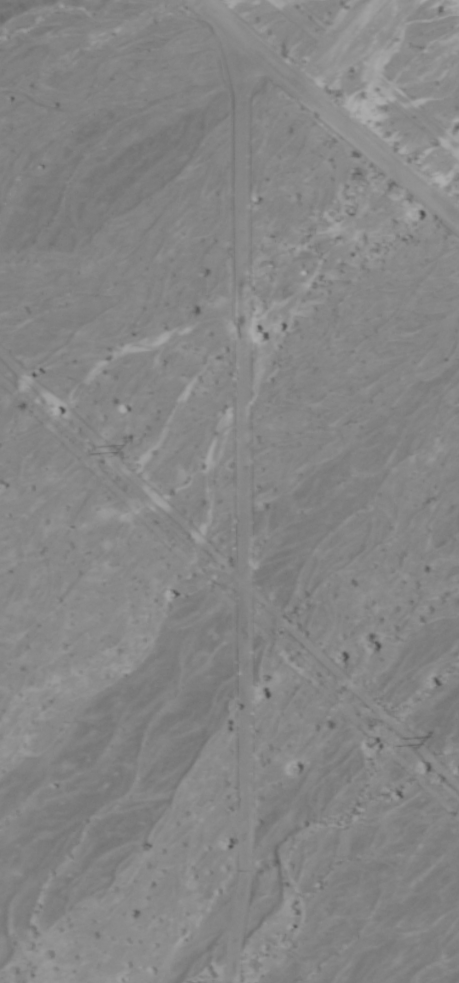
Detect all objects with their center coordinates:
road: (327, 111)
power tower: (87, 454)
power tower: (394, 746)

